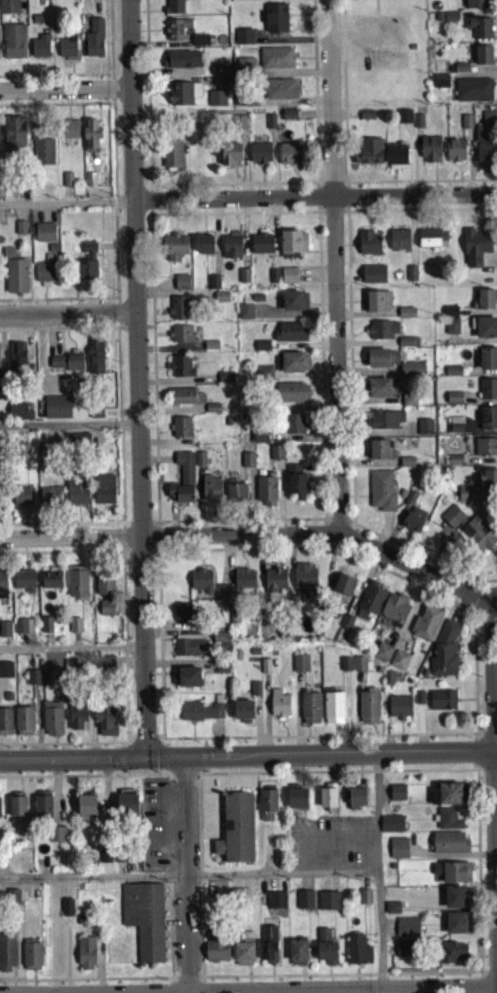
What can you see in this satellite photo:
building: (197, 0)
building: (275, 0)
building: (477, 6)
building: (174, 8)
building: (9, 9)
road: (375, 9)
building: (438, 21)
building: (450, 21)
building: (275, 23)
road: (375, 28)
building: (478, 31)
building: (177, 33)
road: (354, 38)
road: (109, 41)
building: (243, 41)
building: (94, 43)
building: (200, 44)
parking lot: (374, 45)
building: (13, 46)
building: (40, 51)
building: (67, 52)
building: (412, 52)
building: (482, 59)
building: (275, 62)
building: (184, 64)
building: (245, 69)
building: (461, 72)
building: (218, 74)
road: (54, 80)
building: (440, 85)
road: (110, 93)
building: (280, 93)
building: (473, 94)
road: (64, 95)
building: (183, 97)
building: (216, 103)
road: (58, 109)
building: (289, 119)
building: (366, 119)
road: (343, 120)
building: (404, 120)
building: (418, 125)
building: (270, 126)
building: (238, 127)
building: (69, 133)
building: (14, 138)
building: (91, 139)
building: (484, 150)
building: (42, 154)
building: (430, 154)
building: (455, 154)
building: (368, 155)
building: (171, 157)
building: (260, 158)
building: (290, 158)
building: (230, 159)
building: (396, 161)
road: (341, 170)
road: (234, 177)
road: (330, 187)
road: (342, 187)
road: (240, 188)
road: (316, 188)
road: (232, 189)
road: (346, 189)
road: (230, 192)
road: (149, 194)
road: (230, 199)
road: (314, 201)
road: (346, 201)
road: (316, 202)
road: (149, 205)
road: (65, 208)
road: (113, 208)
road: (316, 216)
road: (317, 216)
road: (331, 216)
road: (345, 216)
road: (150, 217)
building: (44, 237)
building: (431, 242)
building: (399, 244)
building: (262, 247)
building: (369, 247)
building: (203, 248)
building: (292, 248)
building: (231, 250)
building: (174, 251)
building: (474, 251)
building: (87, 267)
road: (333, 268)
building: (45, 274)
building: (15, 277)
building: (374, 278)
building: (289, 280)
building: (181, 286)
road: (128, 301)
building: (485, 303)
road: (61, 304)
building: (294, 305)
building: (377, 306)
building: (178, 312)
building: (449, 315)
building: (245, 316)
building: (406, 317)
road: (116, 318)
road: (67, 320)
building: (451, 331)
building: (484, 331)
road: (122, 332)
road: (133, 332)
road: (148, 332)
road: (62, 333)
building: (382, 334)
building: (291, 336)
building: (180, 338)
building: (406, 346)
building: (262, 350)
building: (16, 360)
building: (95, 360)
building: (382, 362)
building: (487, 363)
building: (294, 366)
building: (65, 367)
building: (180, 371)
building: (412, 374)
road: (349, 375)
building: (452, 375)
building: (264, 377)
road: (135, 380)
building: (378, 392)
building: (488, 393)
building: (291, 397)
building: (185, 400)
building: (453, 402)
building: (409, 404)
building: (57, 411)
building: (18, 416)
building: (488, 422)
building: (385, 424)
building: (294, 428)
road: (67, 429)
building: (454, 429)
building: (180, 431)
building: (424, 431)
road: (119, 433)
building: (259, 442)
building: (79, 445)
building: (485, 451)
building: (378, 454)
building: (46, 455)
building: (21, 456)
building: (276, 457)
building: (247, 464)
building: (182, 483)
building: (488, 484)
building: (295, 486)
building: (77, 491)
building: (211, 493)
building: (104, 494)
building: (382, 494)
building: (266, 495)
building: (235, 497)
building: (465, 499)
building: (23, 500)
building: (49, 500)
building: (1, 501)
building: (452, 520)
road: (323, 523)
building: (413, 524)
road: (338, 525)
road: (138, 526)
road: (154, 526)
road: (350, 526)
road: (64, 528)
road: (354, 532)
road: (323, 533)
road: (256, 538)
road: (351, 539)
building: (477, 539)
road: (155, 541)
road: (122, 542)
road: (122, 552)
road: (287, 553)
road: (140, 555)
road: (154, 555)
road: (126, 556)
building: (304, 581)
road: (122, 582)
building: (51, 583)
building: (24, 584)
building: (274, 584)
building: (201, 585)
road: (463, 585)
building: (244, 586)
building: (77, 587)
building: (2, 588)
building: (343, 588)
road: (457, 595)
building: (104, 596)
road: (453, 604)
building: (370, 605)
building: (395, 613)
building: (182, 616)
building: (425, 627)
building: (345, 628)
building: (46, 629)
building: (74, 629)
building: (23, 630)
building: (4, 633)
road: (477, 639)
road: (489, 639)
building: (220, 642)
building: (188, 651)
road: (70, 653)
building: (444, 655)
building: (382, 657)
building: (399, 664)
building: (101, 666)
building: (299, 667)
building: (345, 668)
building: (359, 668)
building: (221, 673)
building: (5, 674)
road: (491, 681)
building: (47, 682)
building: (188, 682)
building: (33, 686)
building: (255, 693)
building: (418, 702)
building: (442, 704)
building: (278, 708)
building: (368, 711)
building: (310, 712)
building: (333, 712)
building: (399, 712)
building: (243, 714)
building: (200, 716)
building: (77, 721)
building: (52, 723)
building: (105, 724)
building: (23, 725)
building: (5, 726)
road: (489, 737)
road: (479, 738)
road: (125, 739)
road: (144, 740)
road: (158, 740)
road: (129, 741)
road: (339, 741)
road: (185, 743)
road: (68, 748)
road: (319, 756)
road: (71, 762)
traffic signals: (143, 762)
traffic signals: (184, 762)
road: (201, 763)
road: (121, 764)
road: (285, 777)
road: (121, 778)
road: (197, 779)
road: (86, 781)
road: (172, 783)
road: (183, 783)
road: (171, 784)
road: (495, 795)
building: (397, 797)
building: (449, 798)
building: (328, 801)
building: (357, 801)
building: (297, 802)
building: (127, 807)
building: (267, 807)
building: (86, 809)
building: (43, 811)
building: (17, 812)
building: (0, 821)
building: (450, 823)
road: (308, 828)
road: (197, 829)
building: (391, 829)
road: (170, 831)
building: (235, 833)
building: (57, 839)
road: (335, 840)
road: (209, 841)
building: (449, 847)
parking lot: (330, 848)
road: (335, 851)
building: (398, 853)
road: (335, 868)
road: (377, 873)
building: (452, 876)
road: (186, 877)
road: (199, 880)
road: (282, 880)
road: (93, 882)
road: (168, 882)
building: (238, 900)
building: (13, 901)
building: (365, 901)
building: (457, 902)
building: (305, 904)
building: (276, 905)
building: (328, 905)
building: (67, 912)
building: (392, 913)
building: (144, 923)
road: (166, 925)
building: (458, 928)
building: (407, 932)
road: (199, 936)
road: (170, 937)
building: (268, 949)
building: (326, 952)
building: (405, 954)
building: (244, 955)
building: (358, 955)
building: (7, 956)
building: (216, 956)
building: (297, 956)
building: (86, 958)
building: (452, 958)
building: (32, 960)
road: (286, 981)
road: (127, 983)
road: (446, 989)

